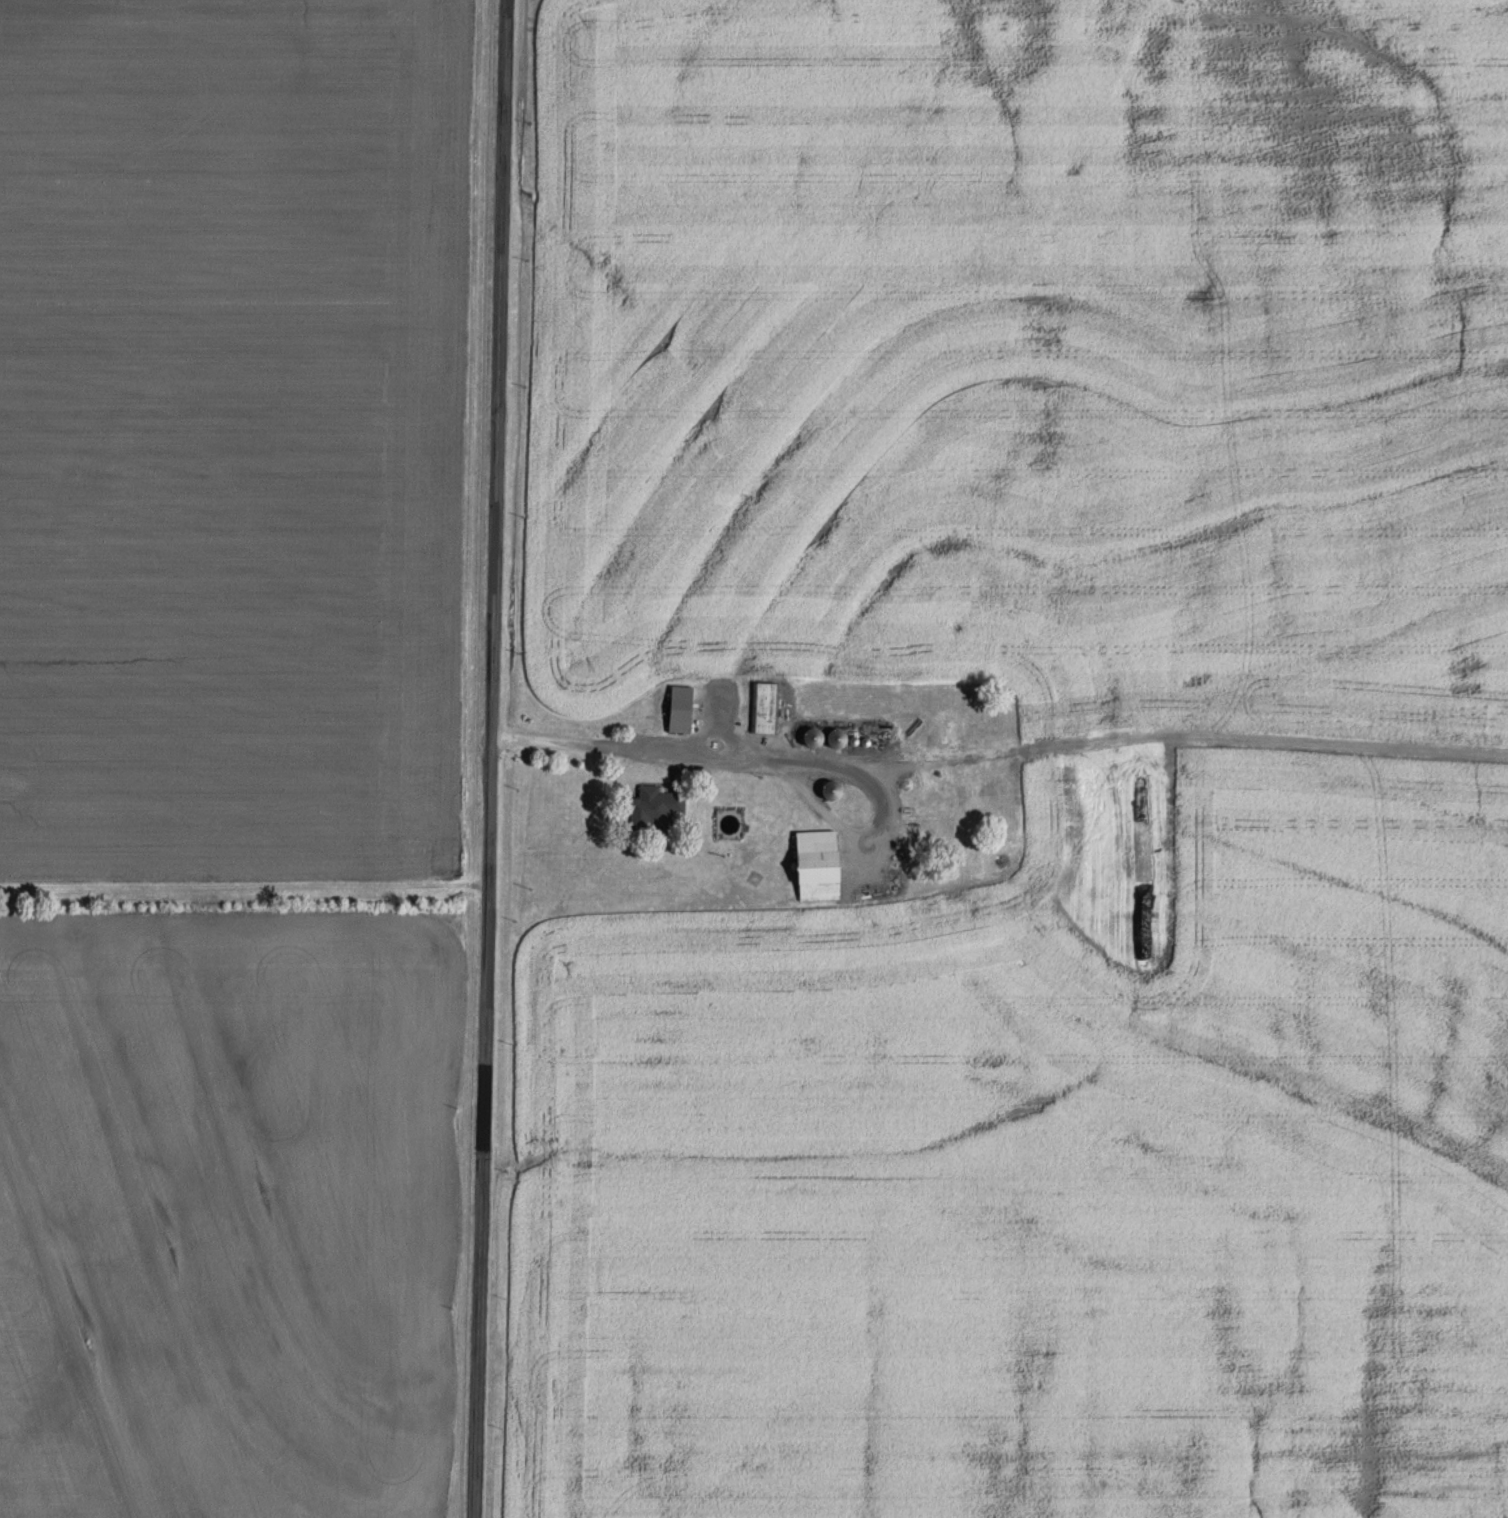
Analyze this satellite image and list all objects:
building: (765, 708)
building: (681, 710)
building: (815, 738)
building: (838, 739)
road: (489, 758)
road: (771, 763)
building: (833, 791)
building: (652, 810)
building: (819, 865)

